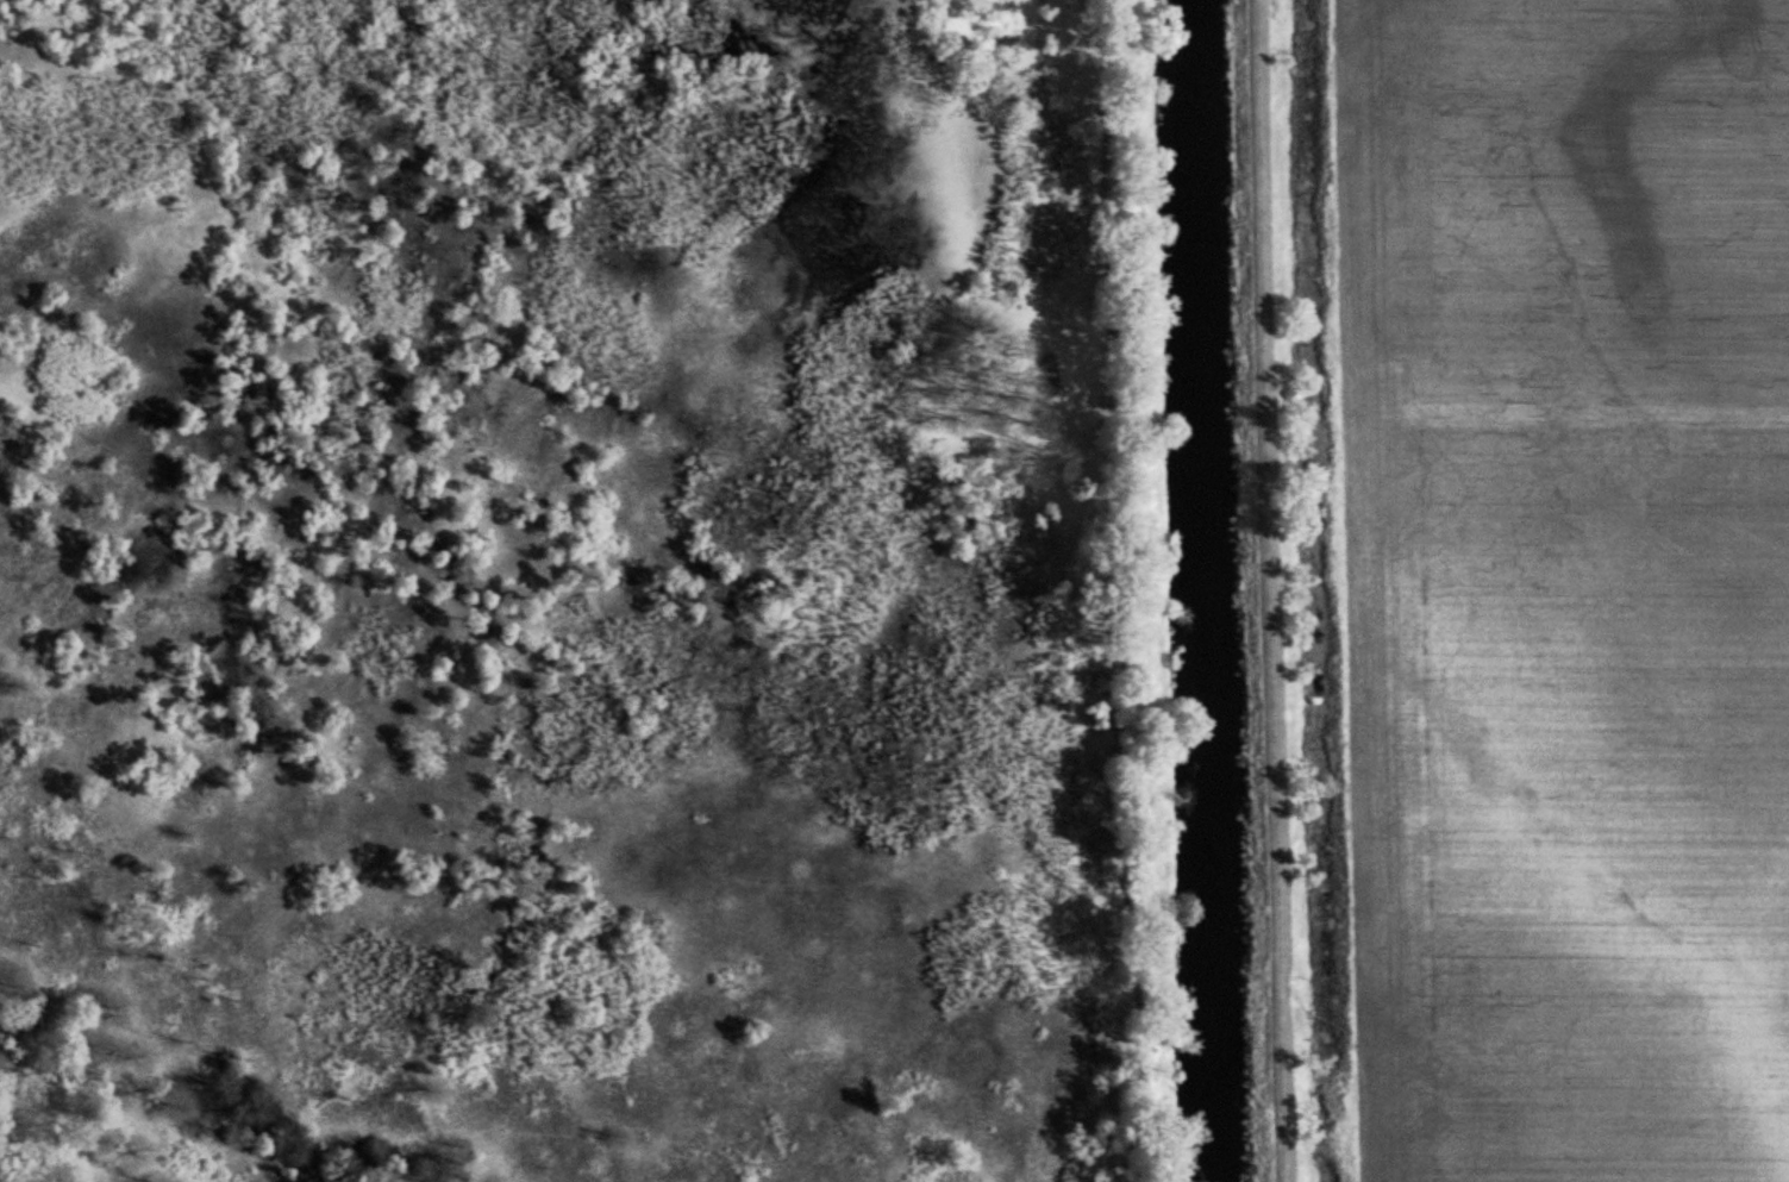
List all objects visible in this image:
crop: (1564, 586)

